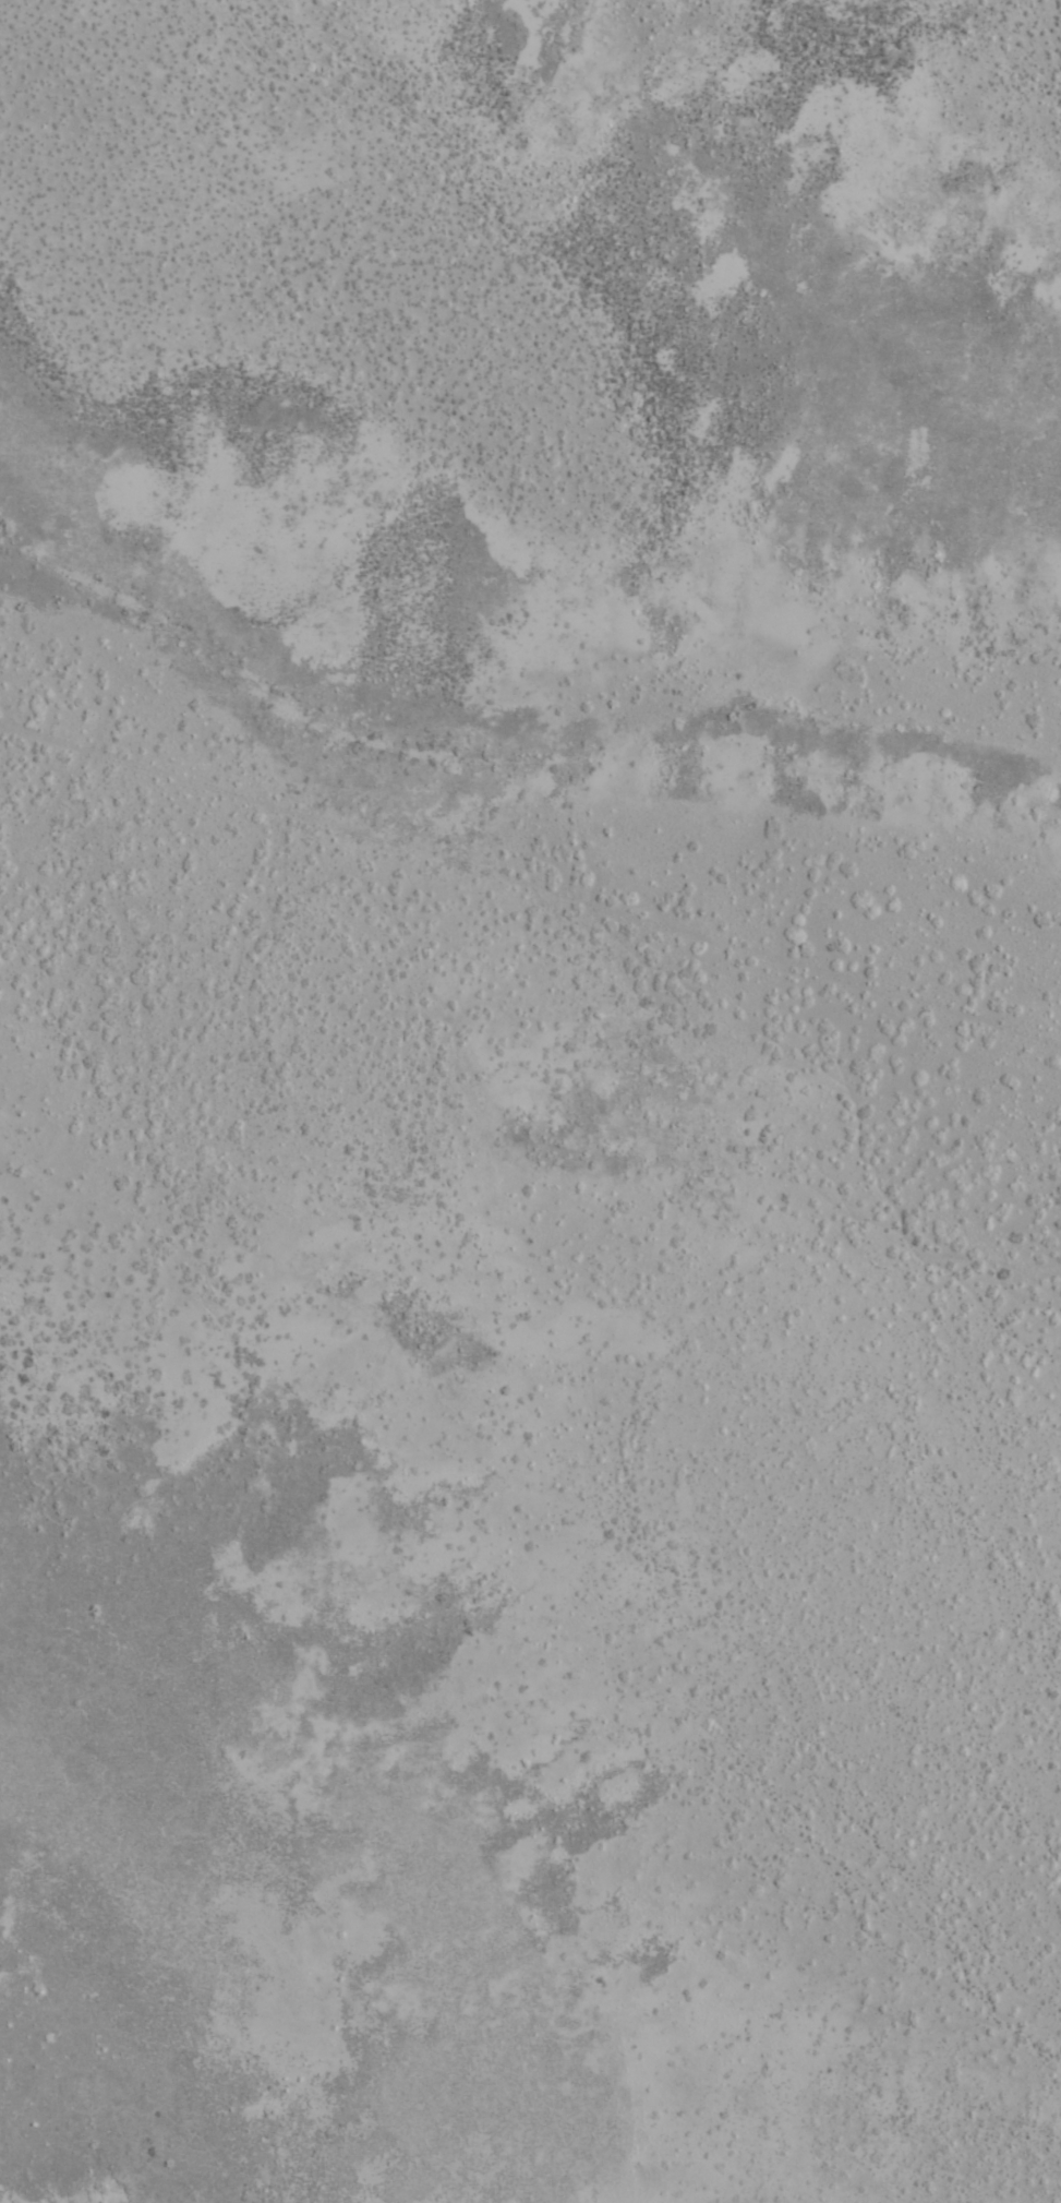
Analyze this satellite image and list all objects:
road: (270, 494)
road: (530, 885)

